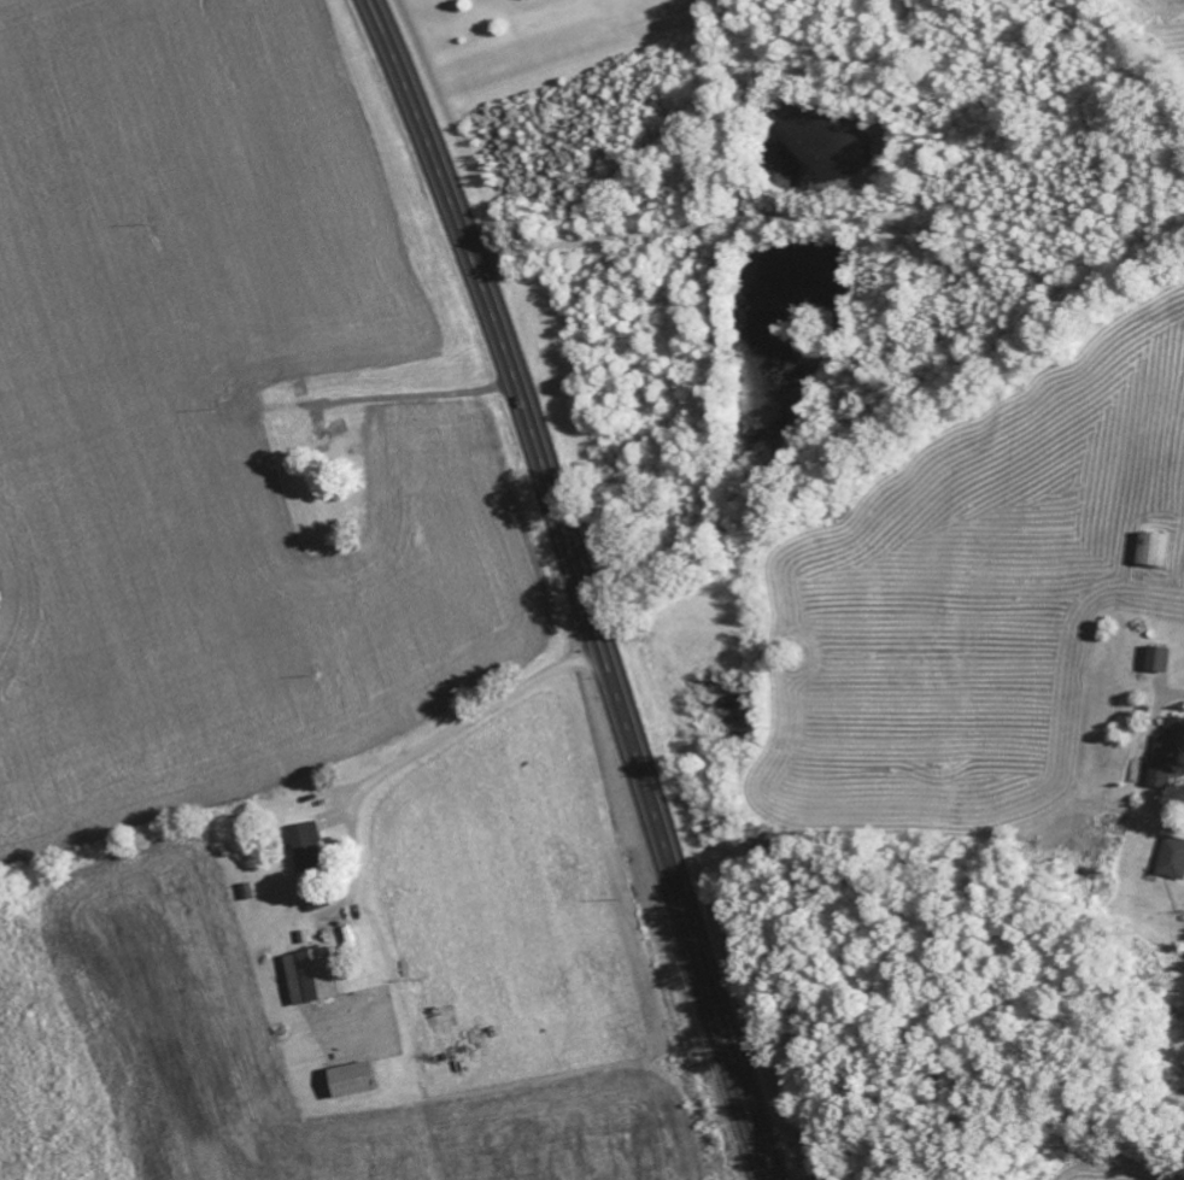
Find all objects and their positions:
road: (416, 395)
road: (521, 399)
building: (1155, 548)
building: (1157, 658)
building: (1167, 755)
road: (408, 757)
road: (338, 821)
building: (315, 845)
building: (1174, 856)
building: (322, 974)
road: (713, 993)
building: (368, 1076)

